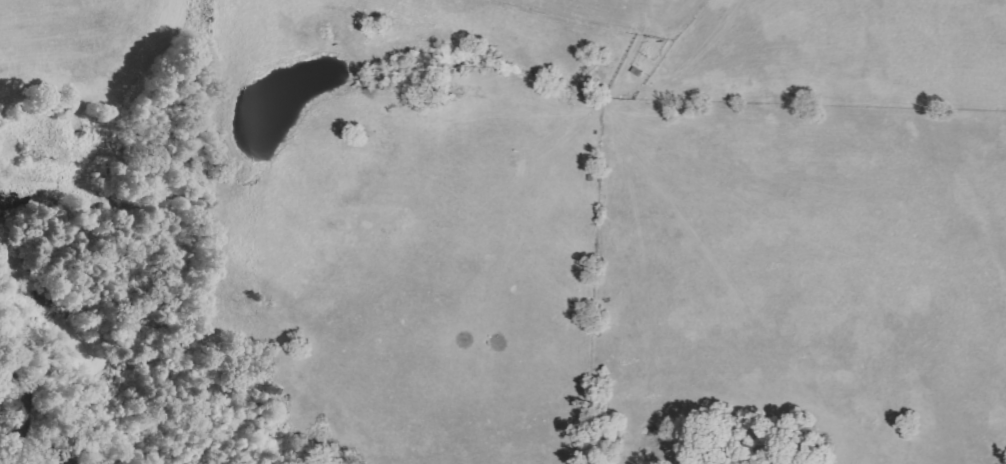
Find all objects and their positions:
road: (655, 9)
road: (33, 163)
road: (75, 198)
building: (12, 399)

